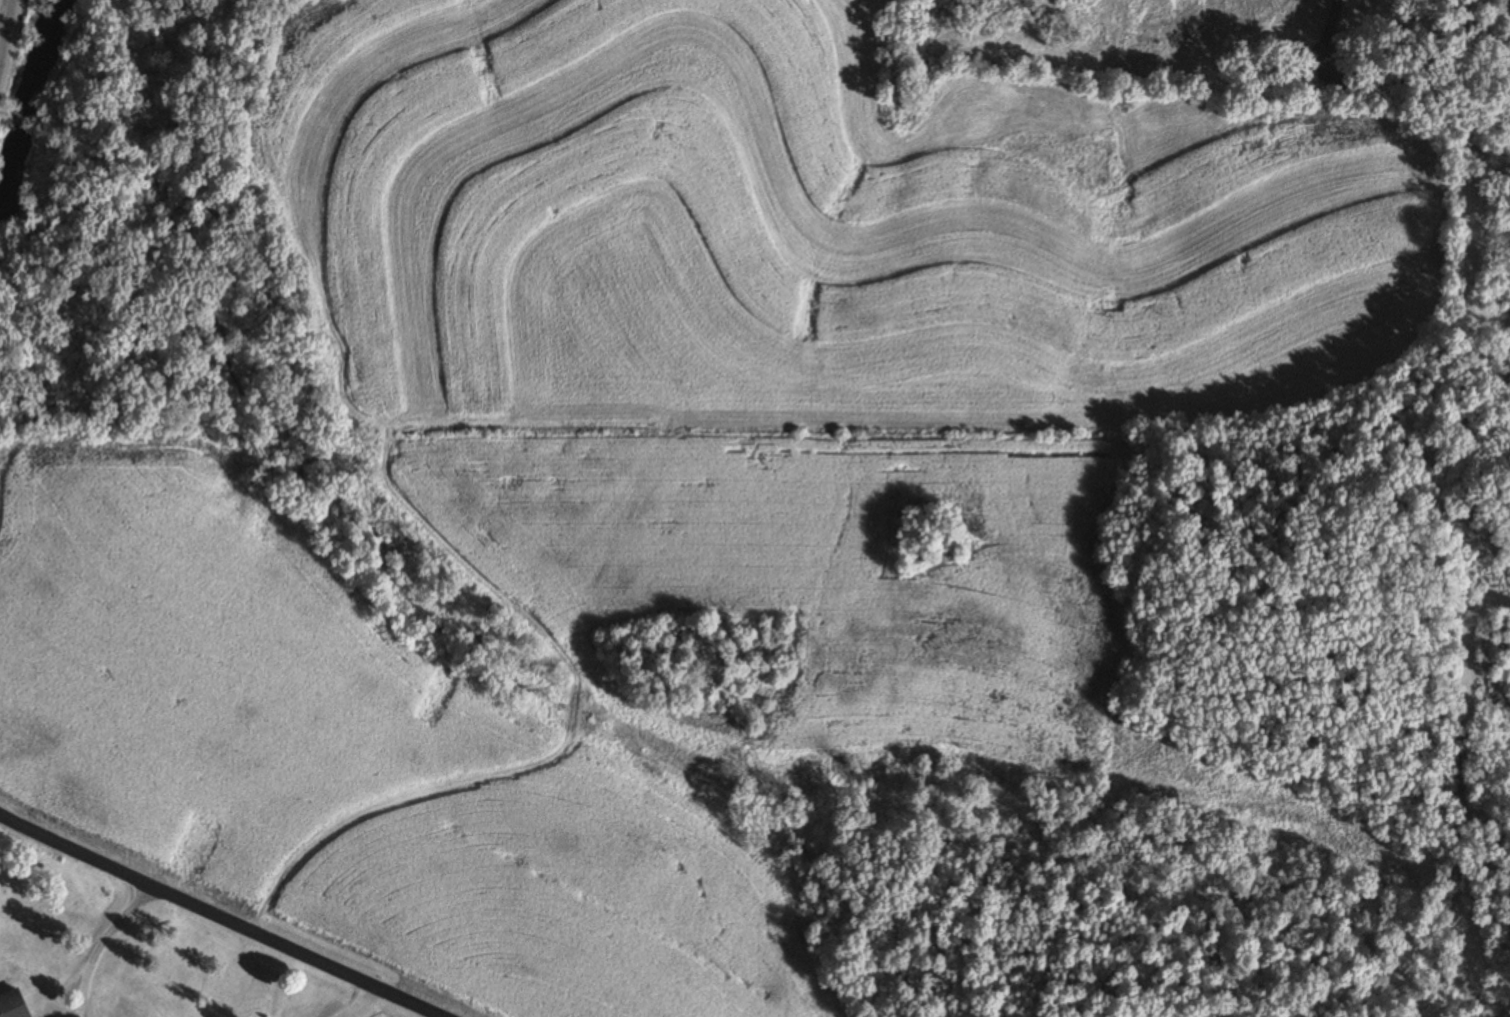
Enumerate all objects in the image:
road: (8, 39)
river: (40, 133)
road: (221, 916)
road: (99, 943)
road: (355, 1002)
building: (14, 1005)

